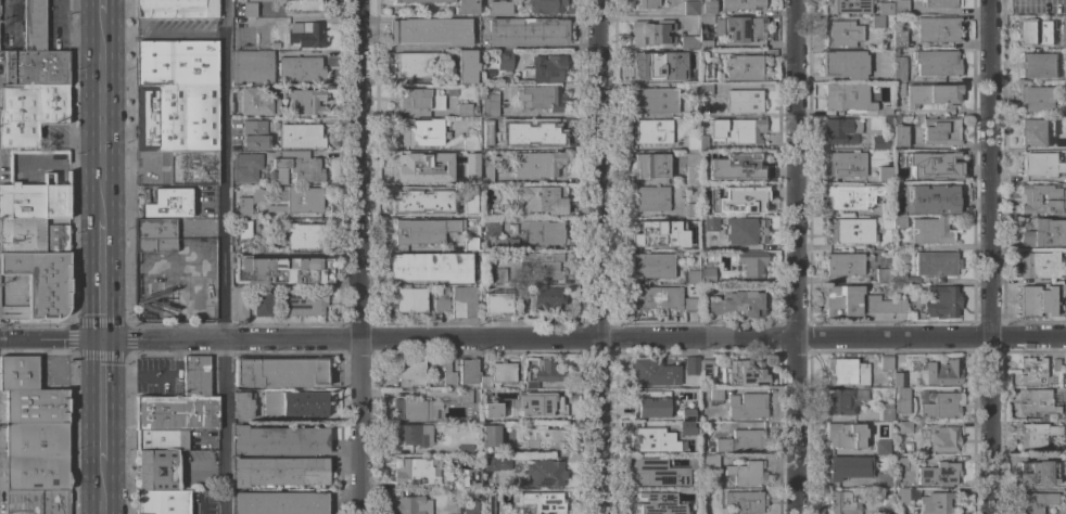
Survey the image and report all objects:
building: (255, 0)
building: (422, 1)
building: (645, 3)
building: (940, 3)
building: (740, 4)
building: (303, 5)
building: (545, 5)
building: (466, 7)
building: (500, 7)
building: (706, 7)
building: (848, 7)
building: (175, 8)
building: (690, 8)
building: (900, 8)
building: (249, 9)
building: (885, 9)
road: (103, 11)
road: (291, 18)
building: (706, 20)
building: (877, 22)
building: (33, 25)
building: (1061, 25)
building: (744, 29)
building: (937, 29)
building: (1065, 30)
building: (430, 31)
building: (525, 31)
building: (1038, 31)
building: (651, 34)
building: (841, 34)
road: (163, 35)
building: (305, 35)
building: (899, 37)
building: (688, 42)
building: (706, 44)
building: (690, 55)
building: (706, 59)
building: (503, 60)
building: (176, 62)
building: (936, 63)
building: (843, 64)
building: (417, 65)
building: (1038, 65)
building: (252, 66)
building: (467, 66)
building: (35, 67)
building: (651, 67)
building: (744, 67)
building: (547, 68)
building: (301, 69)
building: (899, 69)
building: (490, 73)
building: (691, 89)
building: (705, 89)
building: (898, 90)
building: (931, 94)
building: (536, 98)
building: (847, 98)
building: (1037, 98)
building: (420, 99)
building: (653, 101)
building: (744, 101)
building: (256, 102)
building: (305, 102)
building: (488, 105)
building: (461, 110)
building: (886, 110)
building: (30, 113)
building: (176, 118)
road: (103, 119)
building: (736, 130)
building: (544, 131)
building: (652, 131)
building: (841, 131)
building: (941, 131)
building: (1036, 131)
building: (421, 132)
building: (254, 134)
building: (899, 136)
building: (301, 137)
building: (469, 143)
building: (691, 143)
building: (701, 143)
building: (878, 143)
building: (491, 144)
building: (461, 159)
building: (746, 163)
building: (845, 164)
building: (939, 164)
building: (1042, 164)
building: (536, 165)
building: (415, 166)
building: (649, 166)
building: (245, 167)
building: (295, 167)
building: (192, 168)
building: (696, 168)
road: (795, 168)
road: (356, 169)
road: (599, 170)
building: (898, 171)
building: (884, 174)
building: (485, 175)
building: (467, 177)
building: (706, 190)
building: (935, 195)
building: (851, 196)
building: (650, 198)
building: (300, 200)
building: (418, 200)
building: (542, 200)
building: (745, 200)
building: (1031, 200)
building: (34, 202)
building: (168, 203)
building: (244, 206)
building: (899, 206)
building: (691, 209)
building: (887, 209)
building: (470, 211)
building: (475, 220)
building: (887, 222)
building: (899, 222)
building: (710, 224)
building: (493, 229)
building: (244, 230)
building: (423, 231)
building: (745, 231)
building: (850, 231)
building: (930, 231)
building: (168, 232)
building: (542, 232)
building: (648, 232)
building: (689, 234)
building: (1043, 234)
building: (22, 235)
building: (302, 235)
building: (56, 239)
building: (470, 244)
building: (499, 245)
road: (991, 256)
road: (223, 257)
building: (749, 264)
building: (936, 264)
building: (543, 265)
building: (843, 265)
building: (651, 266)
building: (1040, 266)
building: (431, 267)
building: (280, 270)
building: (707, 274)
building: (498, 275)
building: (883, 275)
building: (690, 277)
building: (899, 277)
road: (103, 280)
building: (40, 282)
building: (1063, 290)
building: (519, 295)
building: (656, 298)
building: (440, 299)
building: (547, 299)
building: (409, 300)
building: (502, 300)
building: (841, 300)
building: (941, 300)
building: (1036, 301)
building: (301, 303)
building: (239, 304)
building: (462, 304)
building: (738, 304)
building: (884, 304)
building: (261, 305)
building: (484, 305)
building: (690, 305)
building: (10, 312)
road: (533, 339)
traffic signals: (104, 342)
building: (886, 363)
building: (1055, 364)
building: (691, 365)
building: (706, 367)
building: (1031, 370)
building: (1065, 370)
building: (468, 371)
building: (280, 372)
building: (503, 372)
building: (653, 372)
building: (846, 372)
building: (937, 372)
building: (18, 373)
building: (410, 373)
building: (543, 373)
building: (746, 373)
building: (447, 374)
building: (899, 380)
building: (484, 382)
building: (446, 390)
building: (714, 396)
building: (462, 397)
building: (843, 400)
building: (902, 401)
building: (181, 402)
building: (1038, 402)
building: (1065, 402)
road: (103, 403)
building: (293, 403)
building: (648, 403)
building: (242, 404)
building: (541, 404)
building: (746, 406)
building: (938, 406)
building: (36, 407)
building: (415, 409)
building: (488, 410)
building: (885, 412)
building: (686, 413)
road: (796, 425)
road: (358, 426)
road: (598, 427)
building: (686, 427)
building: (904, 427)
building: (1065, 432)
building: (413, 435)
building: (1037, 435)
building: (542, 436)
building: (845, 436)
building: (163, 439)
building: (490, 439)
building: (649, 439)
building: (944, 439)
building: (278, 440)
building: (743, 441)
building: (884, 447)
building: (464, 450)
building: (35, 457)
building: (708, 461)
building: (496, 463)
building: (848, 467)
building: (156, 470)
building: (416, 471)
building: (279, 472)
building: (545, 473)
building: (657, 473)
building: (1038, 473)
building: (747, 474)
building: (938, 474)
building: (469, 479)
building: (880, 480)
building: (890, 481)
road: (103, 489)
building: (890, 492)
building: (900, 497)
building: (37, 502)
building: (162, 502)
building: (470, 502)
building: (543, 502)
building: (744, 502)
building: (1037, 502)
building: (280, 503)
building: (658, 503)
building: (842, 503)
building: (937, 503)
building: (411, 505)
building: (881, 511)

